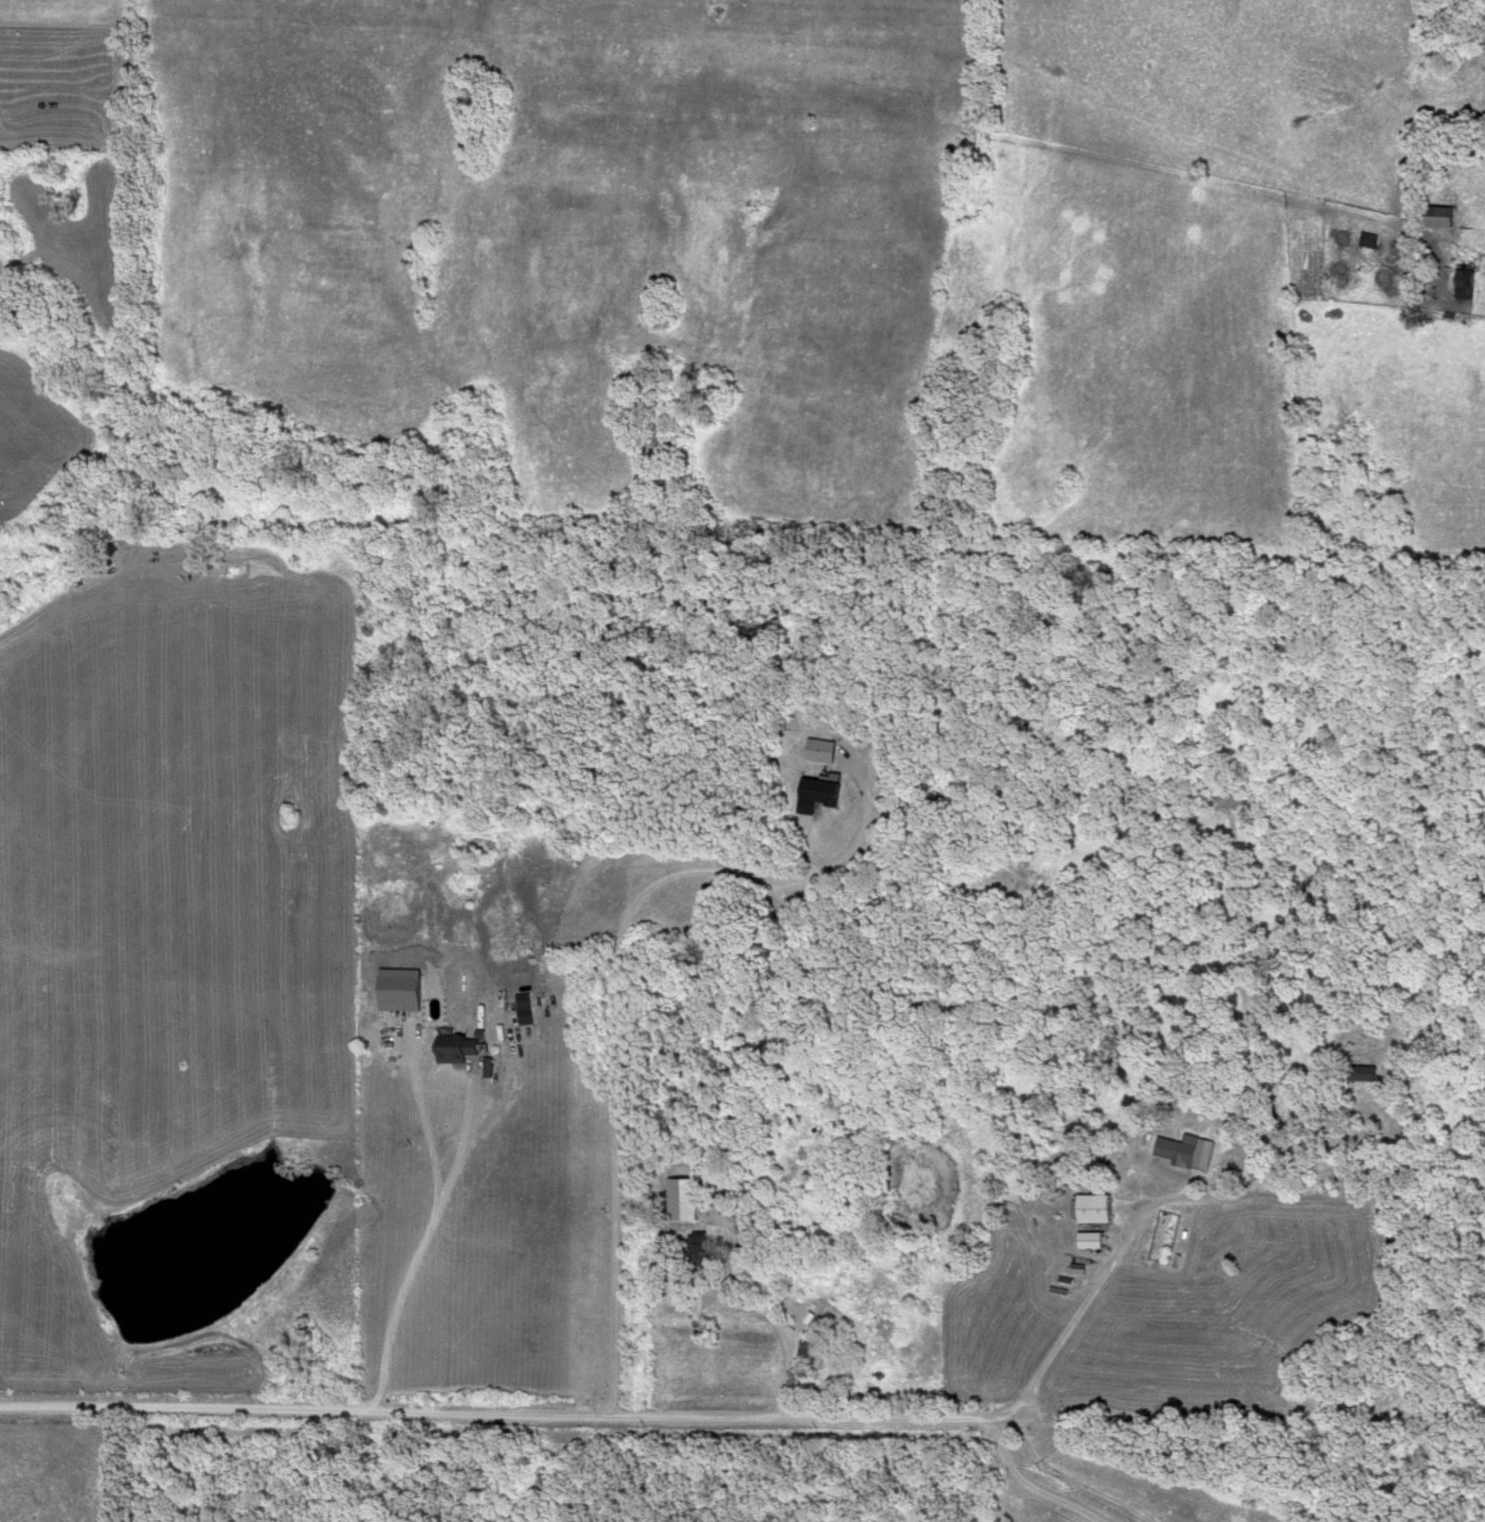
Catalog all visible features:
building: (1439, 218)
building: (1368, 242)
building: (1464, 290)
building: (818, 796)
road: (614, 1045)
building: (455, 1056)
building: (1359, 1075)
road: (421, 1118)
building: (1187, 1154)
building: (1094, 1211)
building: (1090, 1242)
road: (418, 1248)
building: (696, 1252)
road: (1085, 1297)
road: (757, 1307)
building: (708, 1322)
building: (807, 1353)
road: (509, 1416)
road: (1071, 1480)
road: (1032, 1486)

